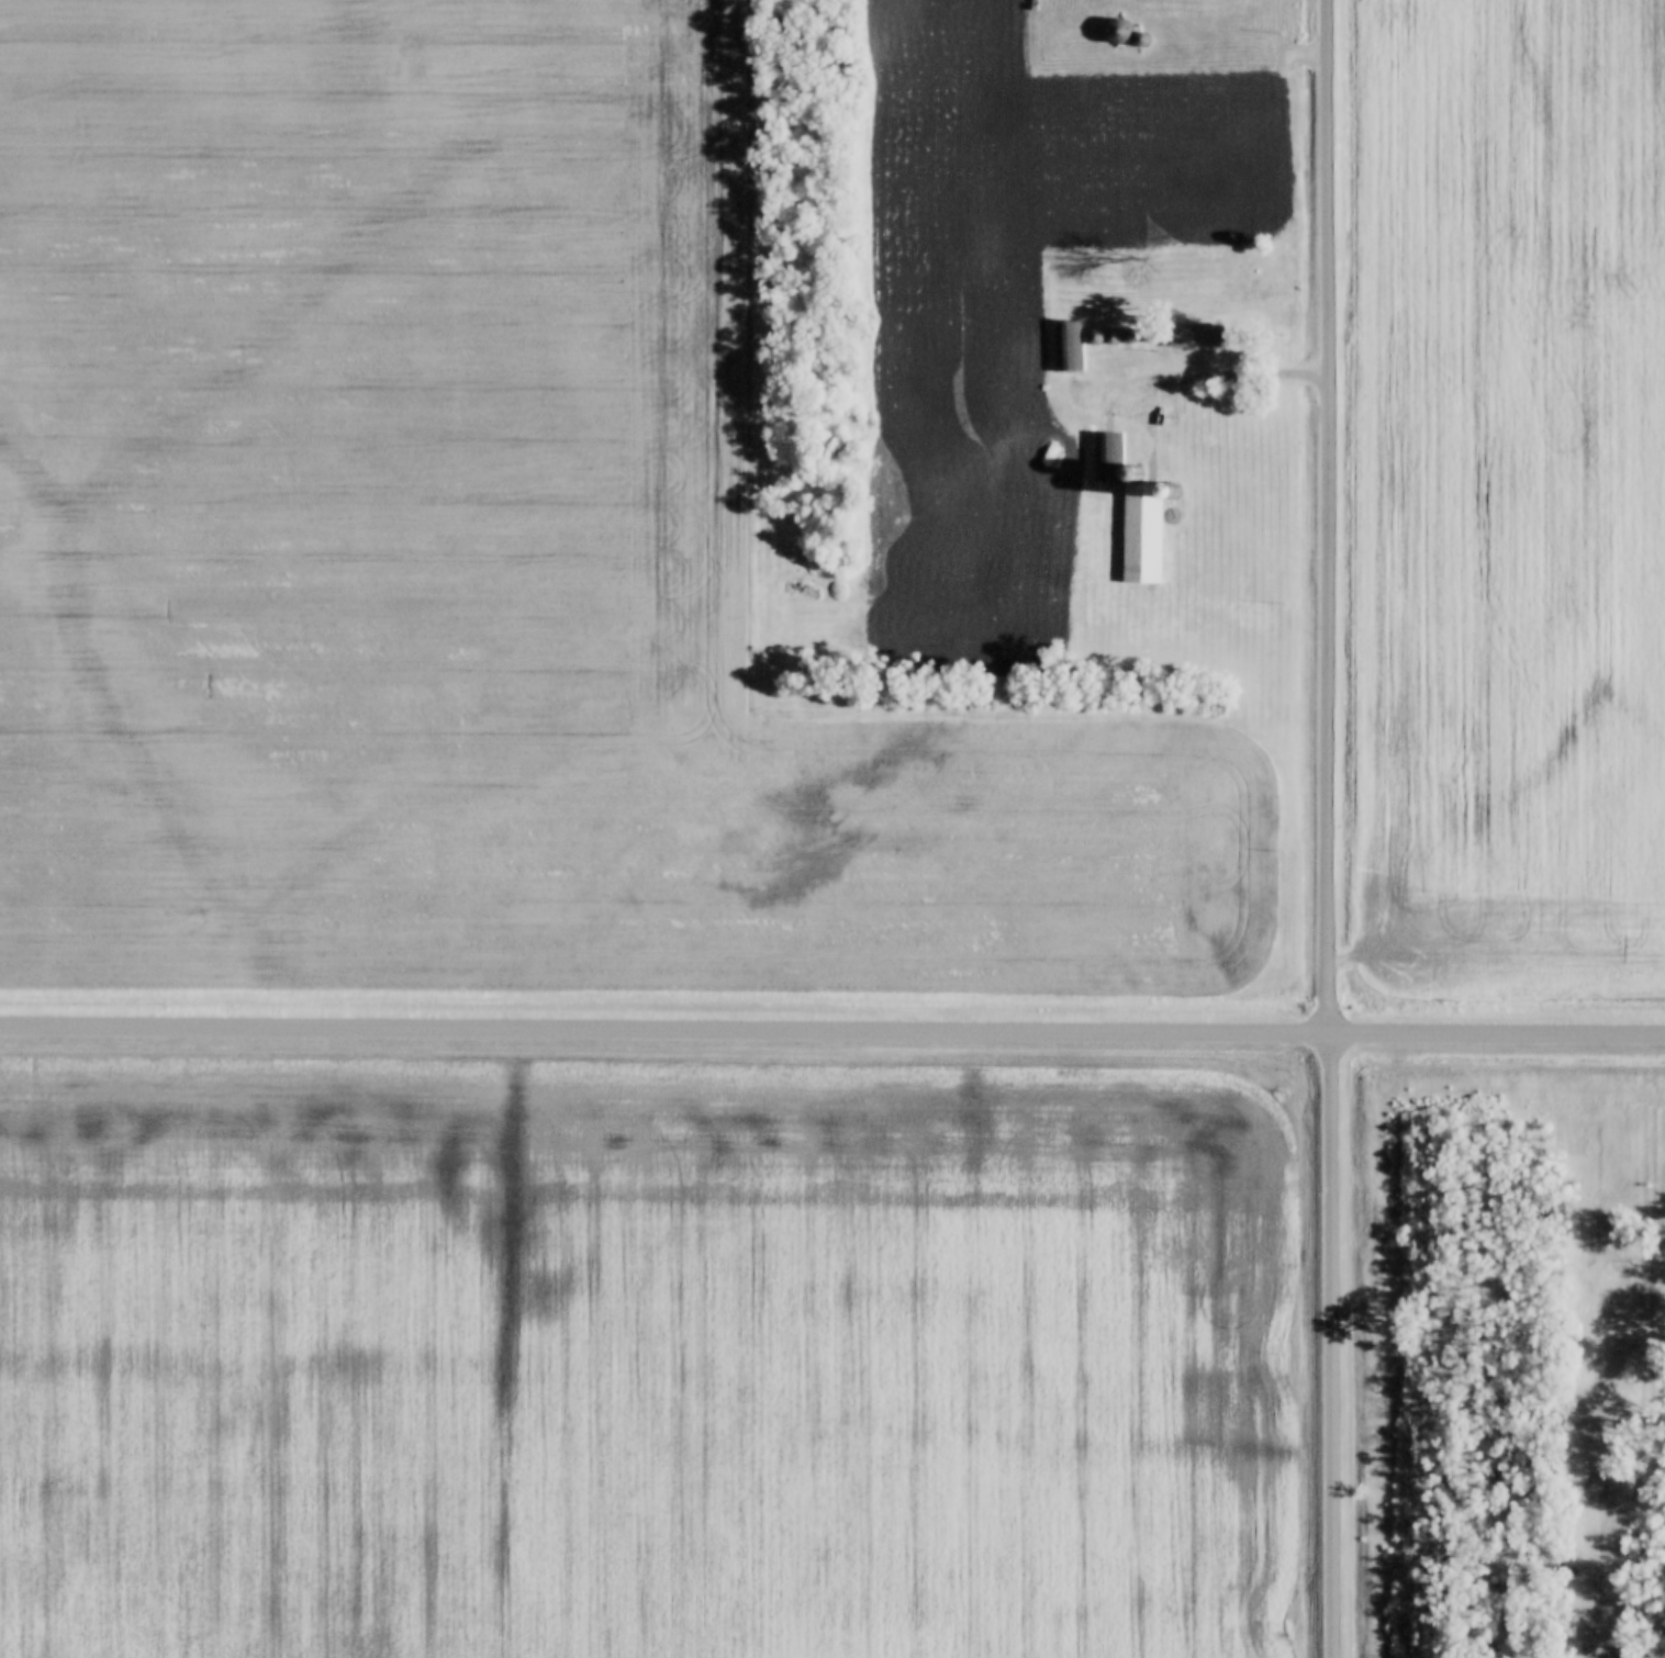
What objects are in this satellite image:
building: (1119, 31)
building: (1197, 335)
road: (1205, 378)
building: (1131, 508)
road: (1331, 828)
road: (832, 1032)

